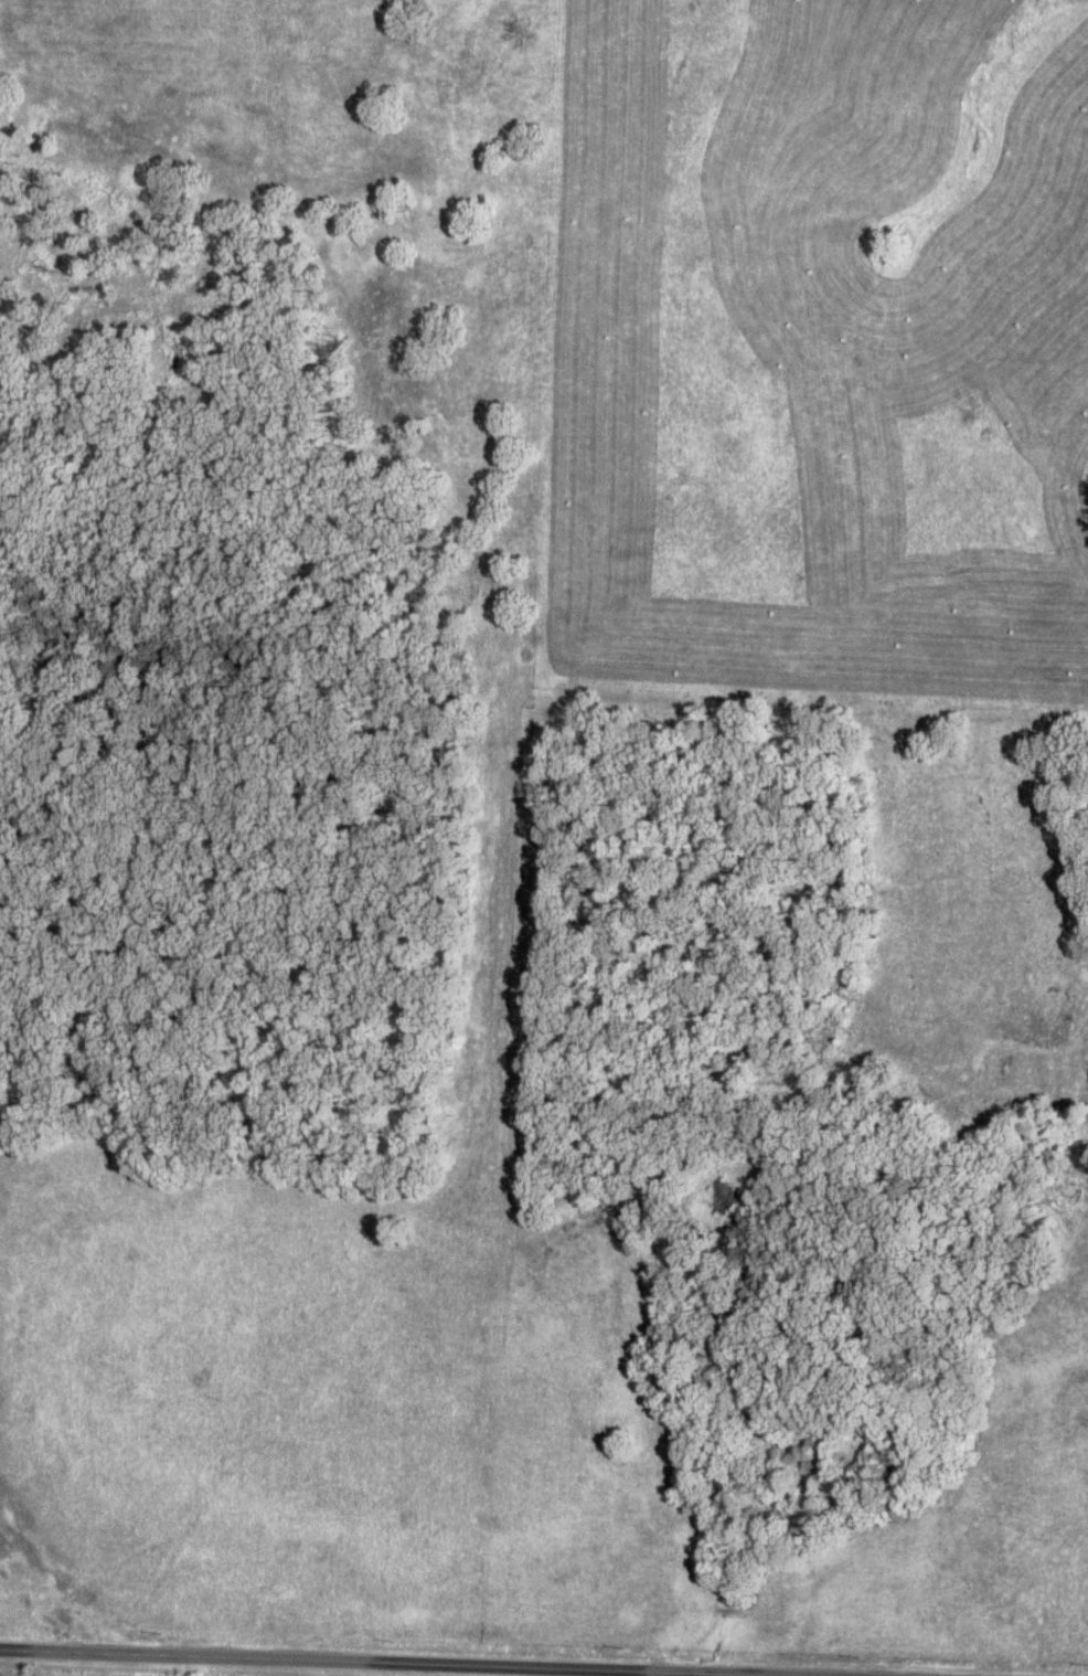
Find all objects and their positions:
road: (427, 1658)

